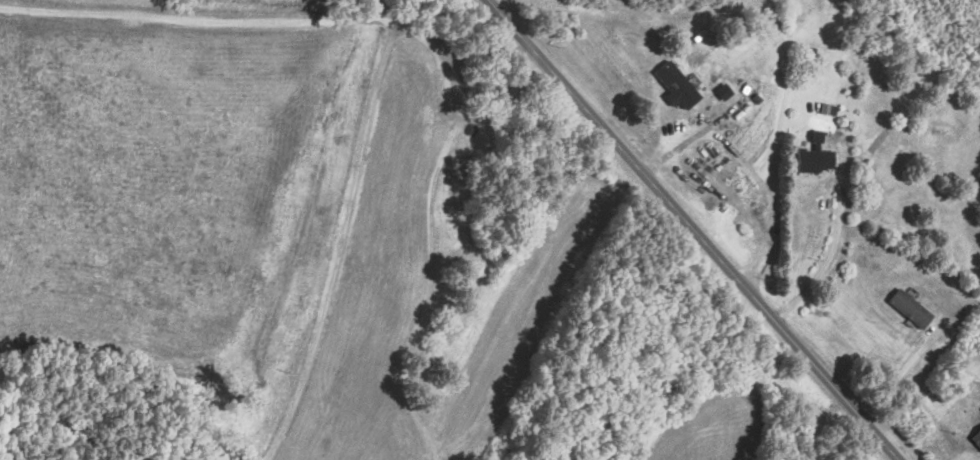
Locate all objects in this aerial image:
crop: (331, 2)
road: (385, 9)
road: (195, 16)
building: (674, 85)
building: (726, 91)
road: (697, 132)
building: (475, 147)
building: (812, 158)
crop: (179, 194)
road: (767, 198)
road: (427, 228)
road: (692, 229)
road: (340, 244)
road: (829, 256)
crop: (371, 289)
building: (908, 309)
crop: (522, 322)
road: (901, 370)
road: (738, 389)
crop: (712, 433)

